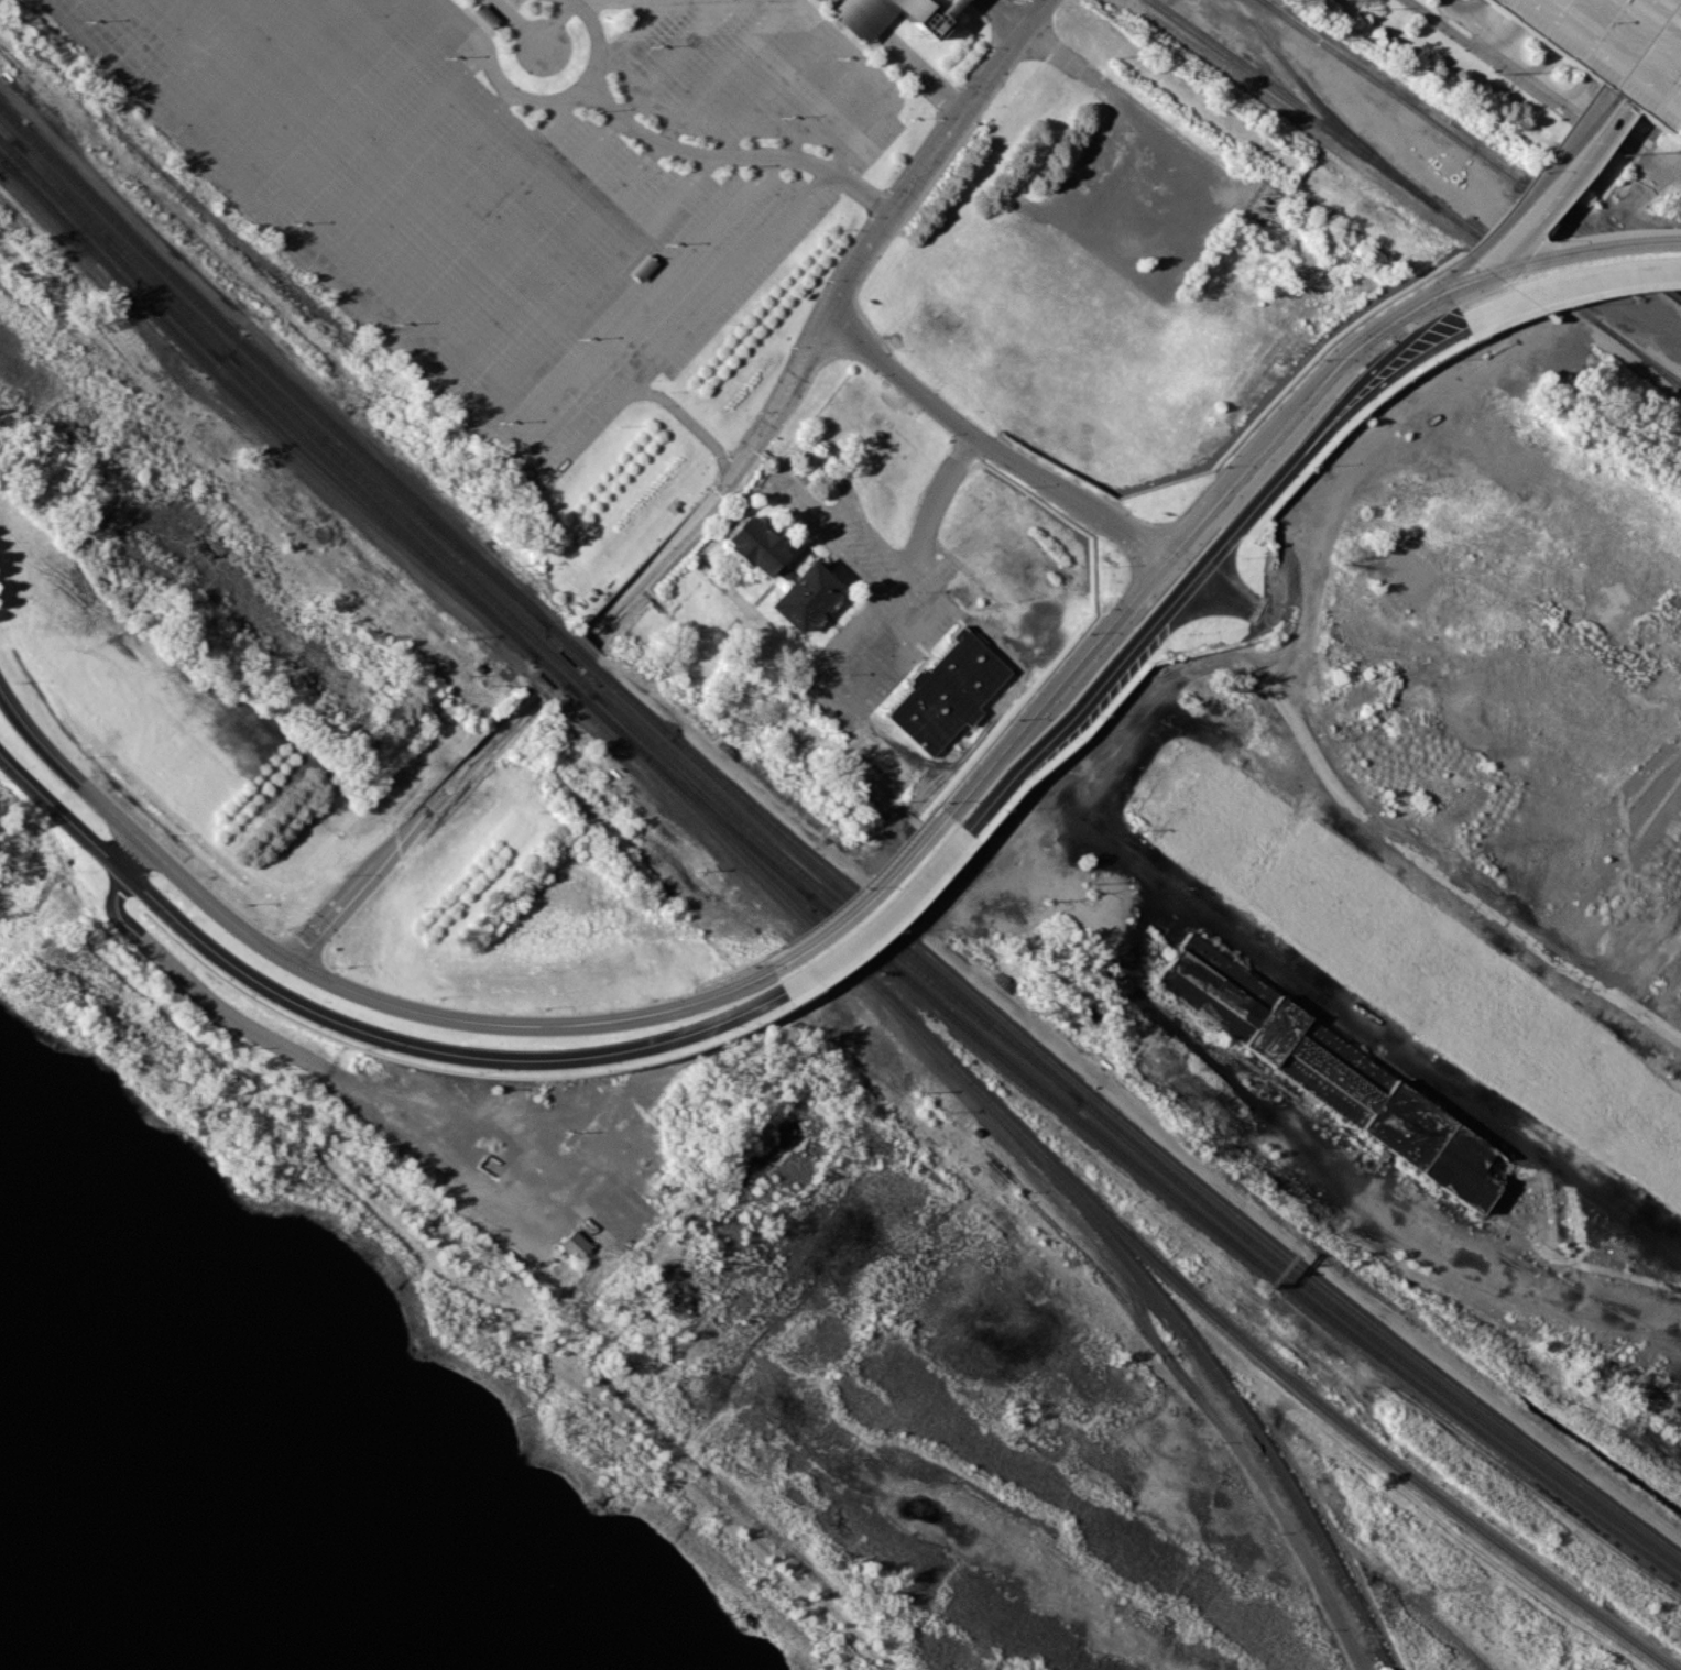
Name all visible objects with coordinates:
road: (951, 11)
building: (883, 14)
building: (482, 15)
road: (1481, 47)
building: (1613, 47)
parking garage: (1613, 47)
road: (907, 54)
road: (1617, 98)
railway: (1324, 116)
road: (1586, 117)
railway: (7, 132)
railway: (1472, 150)
road: (932, 153)
road: (695, 156)
railway: (1415, 192)
road: (1526, 192)
road: (1563, 193)
railway: (1598, 229)
railway: (121, 245)
railway: (119, 250)
railway: (110, 251)
road: (1560, 259)
road: (1463, 280)
road: (1568, 285)
railway: (1639, 357)
road: (1377, 360)
railway: (273, 373)
road: (1388, 375)
road: (1294, 412)
railway: (260, 416)
road: (1395, 416)
road: (987, 443)
railway: (392, 491)
road: (939, 493)
railway: (390, 502)
railway: (381, 510)
building: (753, 545)
building: (803, 596)
railway: (559, 635)
road: (1138, 638)
road: (578, 650)
railway: (577, 651)
railway: (542, 659)
railway: (563, 665)
railway: (555, 673)
railway: (585, 686)
road: (1049, 690)
building: (947, 691)
road: (847, 697)
railway: (702, 796)
road: (138, 834)
road: (122, 875)
railway: (833, 885)
road: (864, 897)
railway: (834, 903)
road: (882, 914)
road: (539, 1023)
road: (362, 1029)
railway: (928, 1038)
building: (1330, 1071)
road: (340, 1083)
railway: (1112, 1147)
railway: (1166, 1157)
building: (574, 1244)
railway: (1377, 1340)
railway: (1473, 1522)

